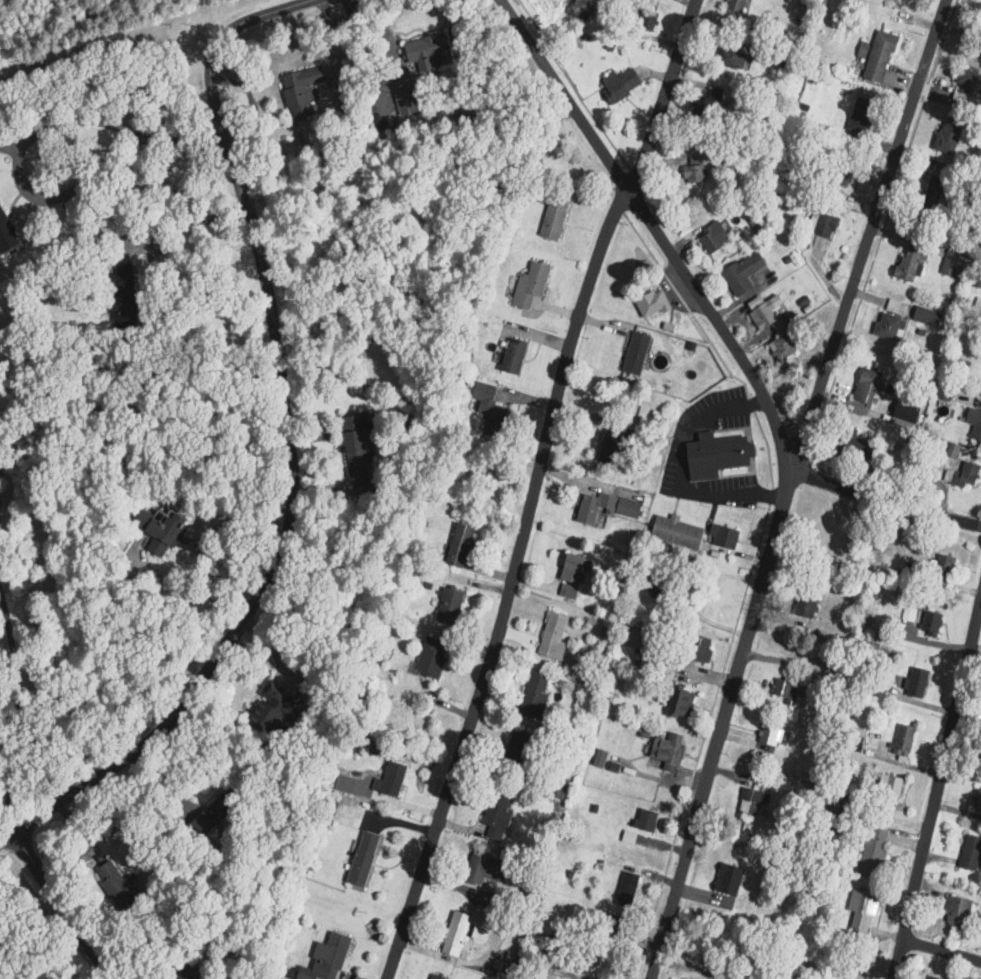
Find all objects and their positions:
building: (738, 5)
building: (649, 20)
building: (423, 52)
building: (734, 57)
building: (882, 57)
building: (963, 80)
building: (624, 83)
building: (299, 91)
building: (706, 103)
building: (863, 116)
road: (36, 135)
building: (950, 135)
building: (690, 173)
building: (843, 173)
building: (931, 198)
building: (555, 219)
road: (189, 222)
building: (822, 227)
road: (655, 228)
building: (5, 235)
building: (715, 237)
road: (878, 237)
building: (957, 261)
building: (913, 263)
building: (745, 273)
building: (531, 285)
building: (654, 304)
building: (891, 304)
building: (120, 305)
building: (761, 309)
building: (928, 316)
building: (772, 318)
building: (891, 327)
building: (785, 347)
building: (638, 354)
building: (516, 357)
building: (868, 386)
building: (945, 391)
building: (493, 411)
building: (975, 422)
road: (289, 441)
building: (352, 443)
building: (616, 443)
building: (857, 444)
building: (954, 450)
building: (718, 455)
road: (678, 470)
building: (965, 476)
road: (786, 484)
road: (533, 486)
road: (882, 500)
building: (608, 507)
building: (163, 531)
building: (679, 533)
building: (725, 537)
building: (461, 545)
building: (945, 568)
building: (573, 576)
road: (748, 576)
building: (808, 605)
building: (451, 606)
building: (933, 624)
building: (555, 637)
building: (699, 649)
building: (434, 657)
building: (919, 683)
building: (877, 687)
building: (786, 690)
building: (536, 694)
building: (682, 703)
building: (275, 712)
road: (18, 713)
building: (773, 734)
building: (902, 739)
building: (669, 752)
building: (842, 766)
building: (392, 780)
building: (890, 787)
road: (937, 790)
building: (978, 800)
building: (752, 801)
building: (219, 812)
building: (499, 817)
building: (648, 820)
road: (6, 834)
building: (875, 853)
building: (972, 854)
building: (365, 859)
building: (486, 870)
building: (725, 878)
building: (118, 884)
building: (629, 890)
building: (719, 897)
road: (62, 905)
building: (864, 912)
building: (961, 913)
building: (607, 921)
building: (460, 936)
road: (942, 949)
building: (588, 957)
building: (328, 959)
building: (186, 971)
building: (439, 977)
building: (938, 977)
building: (689, 978)

